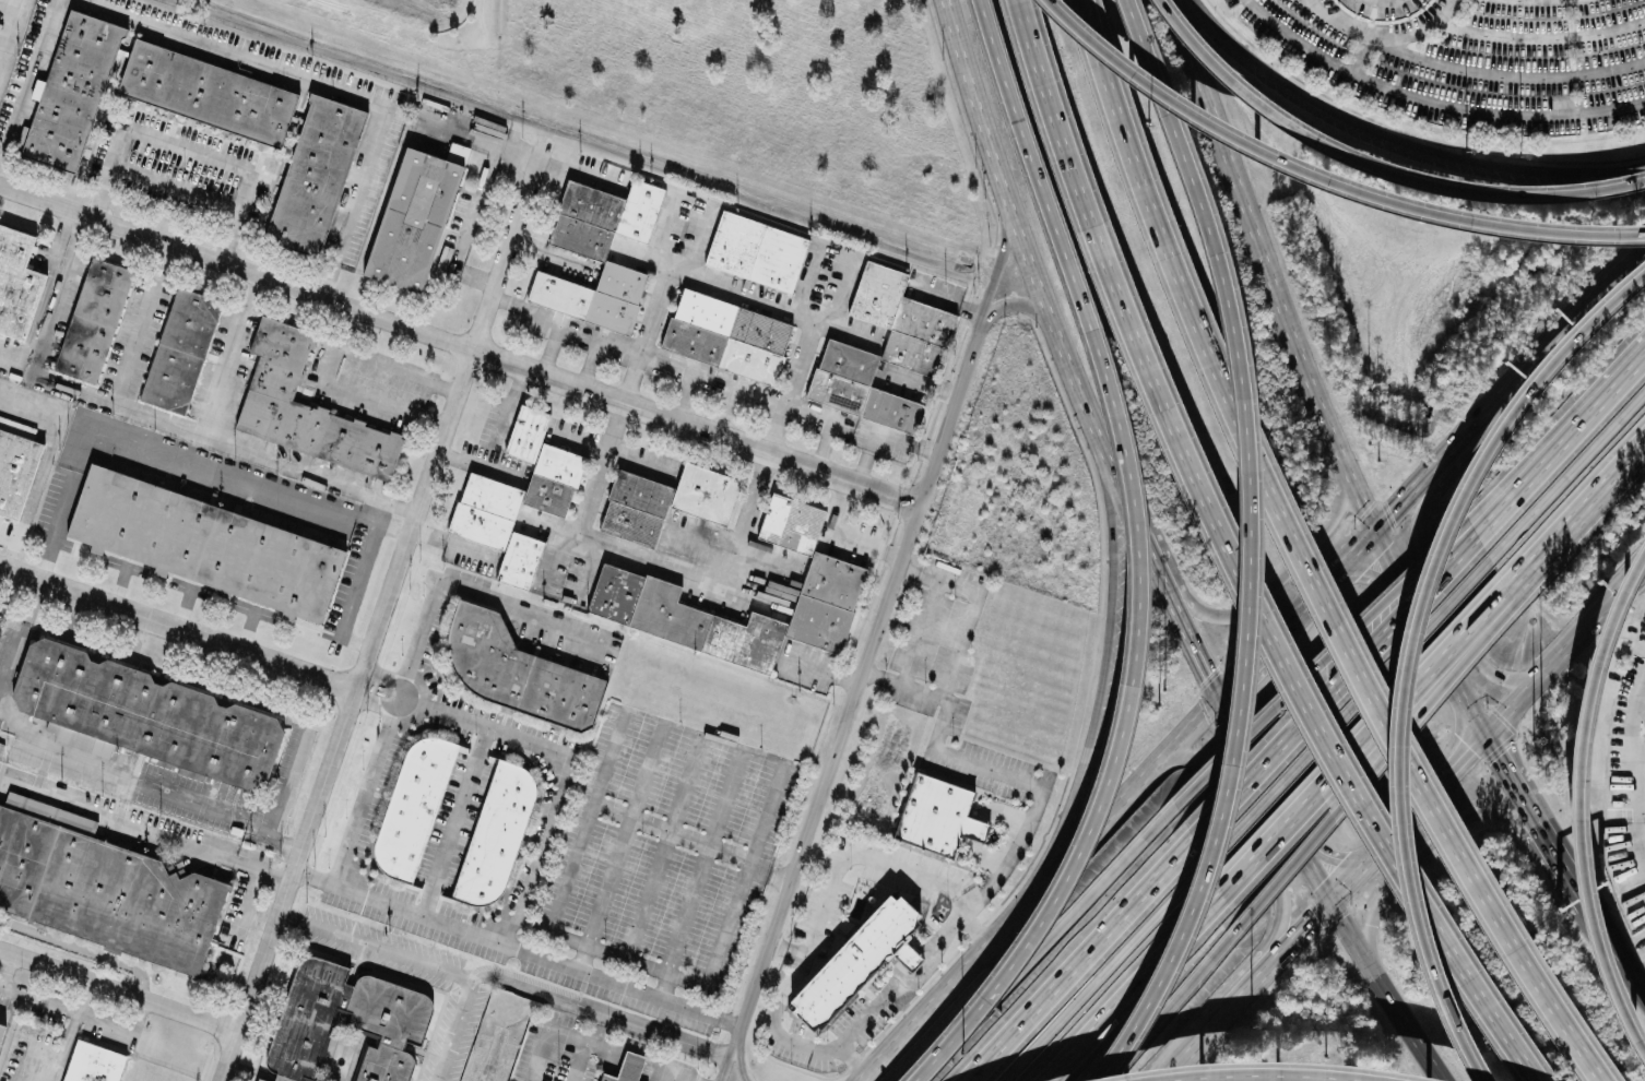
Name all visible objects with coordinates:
road: (1315, 4)
road: (8, 25)
road: (1423, 29)
road: (1541, 36)
road: (236, 52)
road: (1467, 68)
road: (28, 80)
building: (72, 91)
building: (208, 93)
road: (1433, 99)
road: (1399, 136)
road: (187, 150)
road: (989, 162)
road: (1370, 166)
building: (316, 174)
road: (1326, 177)
road: (175, 187)
road: (355, 201)
building: (412, 218)
road: (662, 231)
road: (697, 234)
building: (600, 248)
building: (756, 249)
road: (1170, 262)
road: (993, 271)
building: (16, 282)
road: (744, 287)
road: (1115, 288)
road: (42, 295)
road: (57, 295)
road: (1010, 302)
road: (524, 309)
building: (93, 320)
building: (727, 335)
road: (459, 343)
road: (620, 345)
building: (913, 345)
road: (549, 348)
building: (180, 351)
road: (224, 354)
road: (591, 364)
road: (128, 366)
road: (398, 368)
road: (690, 369)
road: (1312, 377)
road: (922, 384)
road: (1072, 385)
road: (348, 388)
road: (72, 390)
road: (726, 397)
road: (510, 401)
building: (305, 407)
road: (831, 423)
road: (1554, 426)
road: (879, 433)
road: (580, 438)
road: (1560, 438)
road: (772, 451)
road: (173, 453)
road: (1120, 454)
road: (477, 459)
road: (43, 461)
road: (601, 464)
building: (15, 465)
road: (1570, 471)
road: (306, 473)
road: (1617, 484)
building: (518, 497)
building: (665, 500)
road: (1127, 513)
traffic signals: (1374, 521)
road: (843, 535)
road: (7, 538)
building: (205, 543)
road: (1254, 546)
road: (1550, 551)
road: (1554, 555)
road: (123, 565)
road: (1286, 569)
road: (1366, 573)
building: (832, 574)
traffic signals: (1349, 574)
road: (352, 582)
road: (118, 585)
road: (187, 586)
road: (471, 592)
road: (1445, 599)
road: (969, 605)
road: (180, 607)
road: (253, 610)
road: (380, 613)
road: (177, 628)
road: (246, 630)
road: (922, 631)
road: (1185, 634)
road: (20, 635)
road: (1415, 650)
road: (1566, 651)
road: (1248, 653)
road: (1318, 662)
building: (514, 672)
road: (860, 676)
road: (1335, 688)
road: (363, 691)
road: (1096, 692)
traffic signals: (1211, 692)
road: (424, 694)
road: (1642, 694)
road: (1373, 704)
road: (1350, 709)
road: (1638, 710)
building: (146, 715)
road: (15, 724)
road: (495, 728)
traffic signals: (1488, 738)
road: (1366, 745)
road: (1326, 746)
road: (1244, 753)
road: (608, 755)
road: (1380, 760)
road: (986, 765)
road: (1460, 765)
road: (288, 777)
road: (1518, 787)
road: (168, 792)
road: (1586, 803)
road: (362, 804)
building: (413, 805)
building: (936, 813)
road: (455, 820)
road: (144, 829)
road: (1256, 831)
building: (496, 832)
road: (619, 844)
road: (665, 847)
road: (536, 850)
road: (1381, 851)
road: (1323, 852)
road: (862, 854)
road: (1413, 855)
traffic signals: (1337, 857)
road: (1302, 860)
road: (1567, 868)
road: (698, 871)
building: (100, 884)
road: (246, 900)
traffic signals: (1327, 906)
road: (1302, 934)
road: (572, 939)
road: (1616, 943)
road: (374, 946)
road: (81, 947)
road: (517, 947)
road: (1033, 951)
road: (1635, 951)
building: (854, 959)
road: (1080, 962)
road: (5, 963)
road: (1101, 972)
road: (904, 981)
road: (1546, 982)
road: (120, 988)
road: (9, 990)
road: (1135, 990)
road: (1380, 995)
road: (1240, 998)
road: (982, 1001)
road: (1170, 1001)
road: (1480, 1001)
road: (600, 1011)
building: (0, 1023)
building: (344, 1025)
road: (120, 1026)
road: (599, 1027)
road: (68, 1029)
road: (455, 1030)
road: (543, 1034)
road: (782, 1038)
road: (589, 1041)
road: (608, 1047)
road: (494, 1053)
road: (731, 1054)
road: (742, 1054)
road: (634, 1056)
road: (1184, 1059)
road: (577, 1060)
building: (91, 1062)
road: (660, 1067)
building: (625, 1068)
road: (1267, 1074)
road: (673, 1078)
road: (684, 1078)

